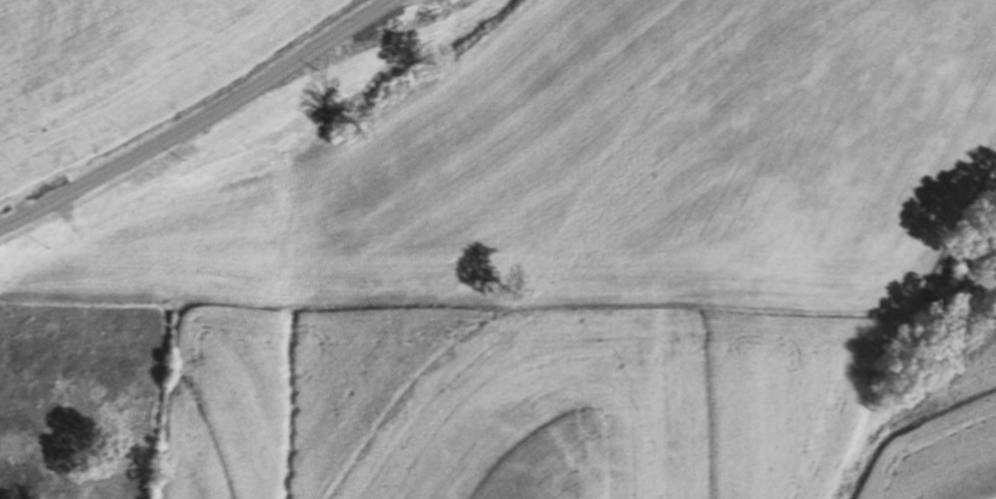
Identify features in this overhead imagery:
road: (200, 118)

